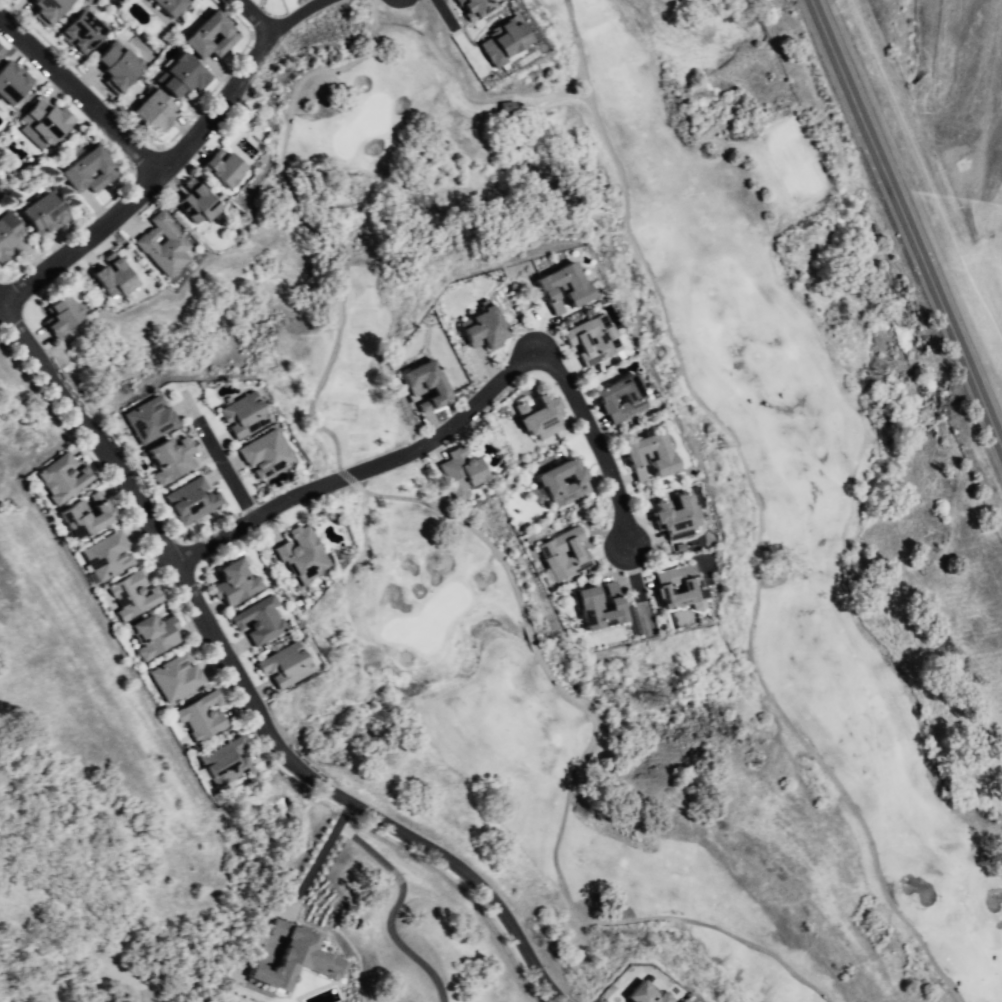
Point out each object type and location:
park: (284, 7)
building: (46, 9)
building: (162, 9)
road: (377, 11)
building: (482, 12)
road: (443, 13)
road: (254, 16)
road: (305, 16)
building: (77, 32)
building: (226, 35)
road: (581, 42)
building: (509, 48)
building: (0, 50)
building: (118, 72)
building: (181, 78)
building: (8, 83)
road: (82, 90)
building: (152, 114)
building: (49, 123)
building: (71, 170)
building: (224, 172)
road: (150, 183)
building: (195, 206)
building: (44, 214)
road: (908, 221)
building: (7, 239)
building: (162, 248)
building: (113, 282)
building: (559, 290)
building: (56, 316)
building: (487, 323)
building: (587, 341)
building: (2, 361)
building: (427, 382)
building: (633, 403)
building: (242, 411)
building: (535, 416)
building: (146, 418)
road: (459, 423)
road: (724, 442)
building: (269, 453)
building: (171, 461)
building: (657, 462)
road: (225, 474)
building: (455, 474)
building: (59, 478)
building: (574, 485)
building: (194, 503)
park: (844, 506)
building: (673, 517)
building: (81, 519)
road: (482, 542)
building: (562, 556)
building: (104, 559)
building: (300, 560)
building: (231, 586)
building: (675, 587)
building: (131, 597)
building: (584, 608)
building: (257, 620)
building: (154, 637)
building: (283, 666)
building: (177, 679)
road: (246, 693)
building: (201, 721)
building: (224, 765)
road: (323, 856)
building: (292, 961)
building: (647, 990)

